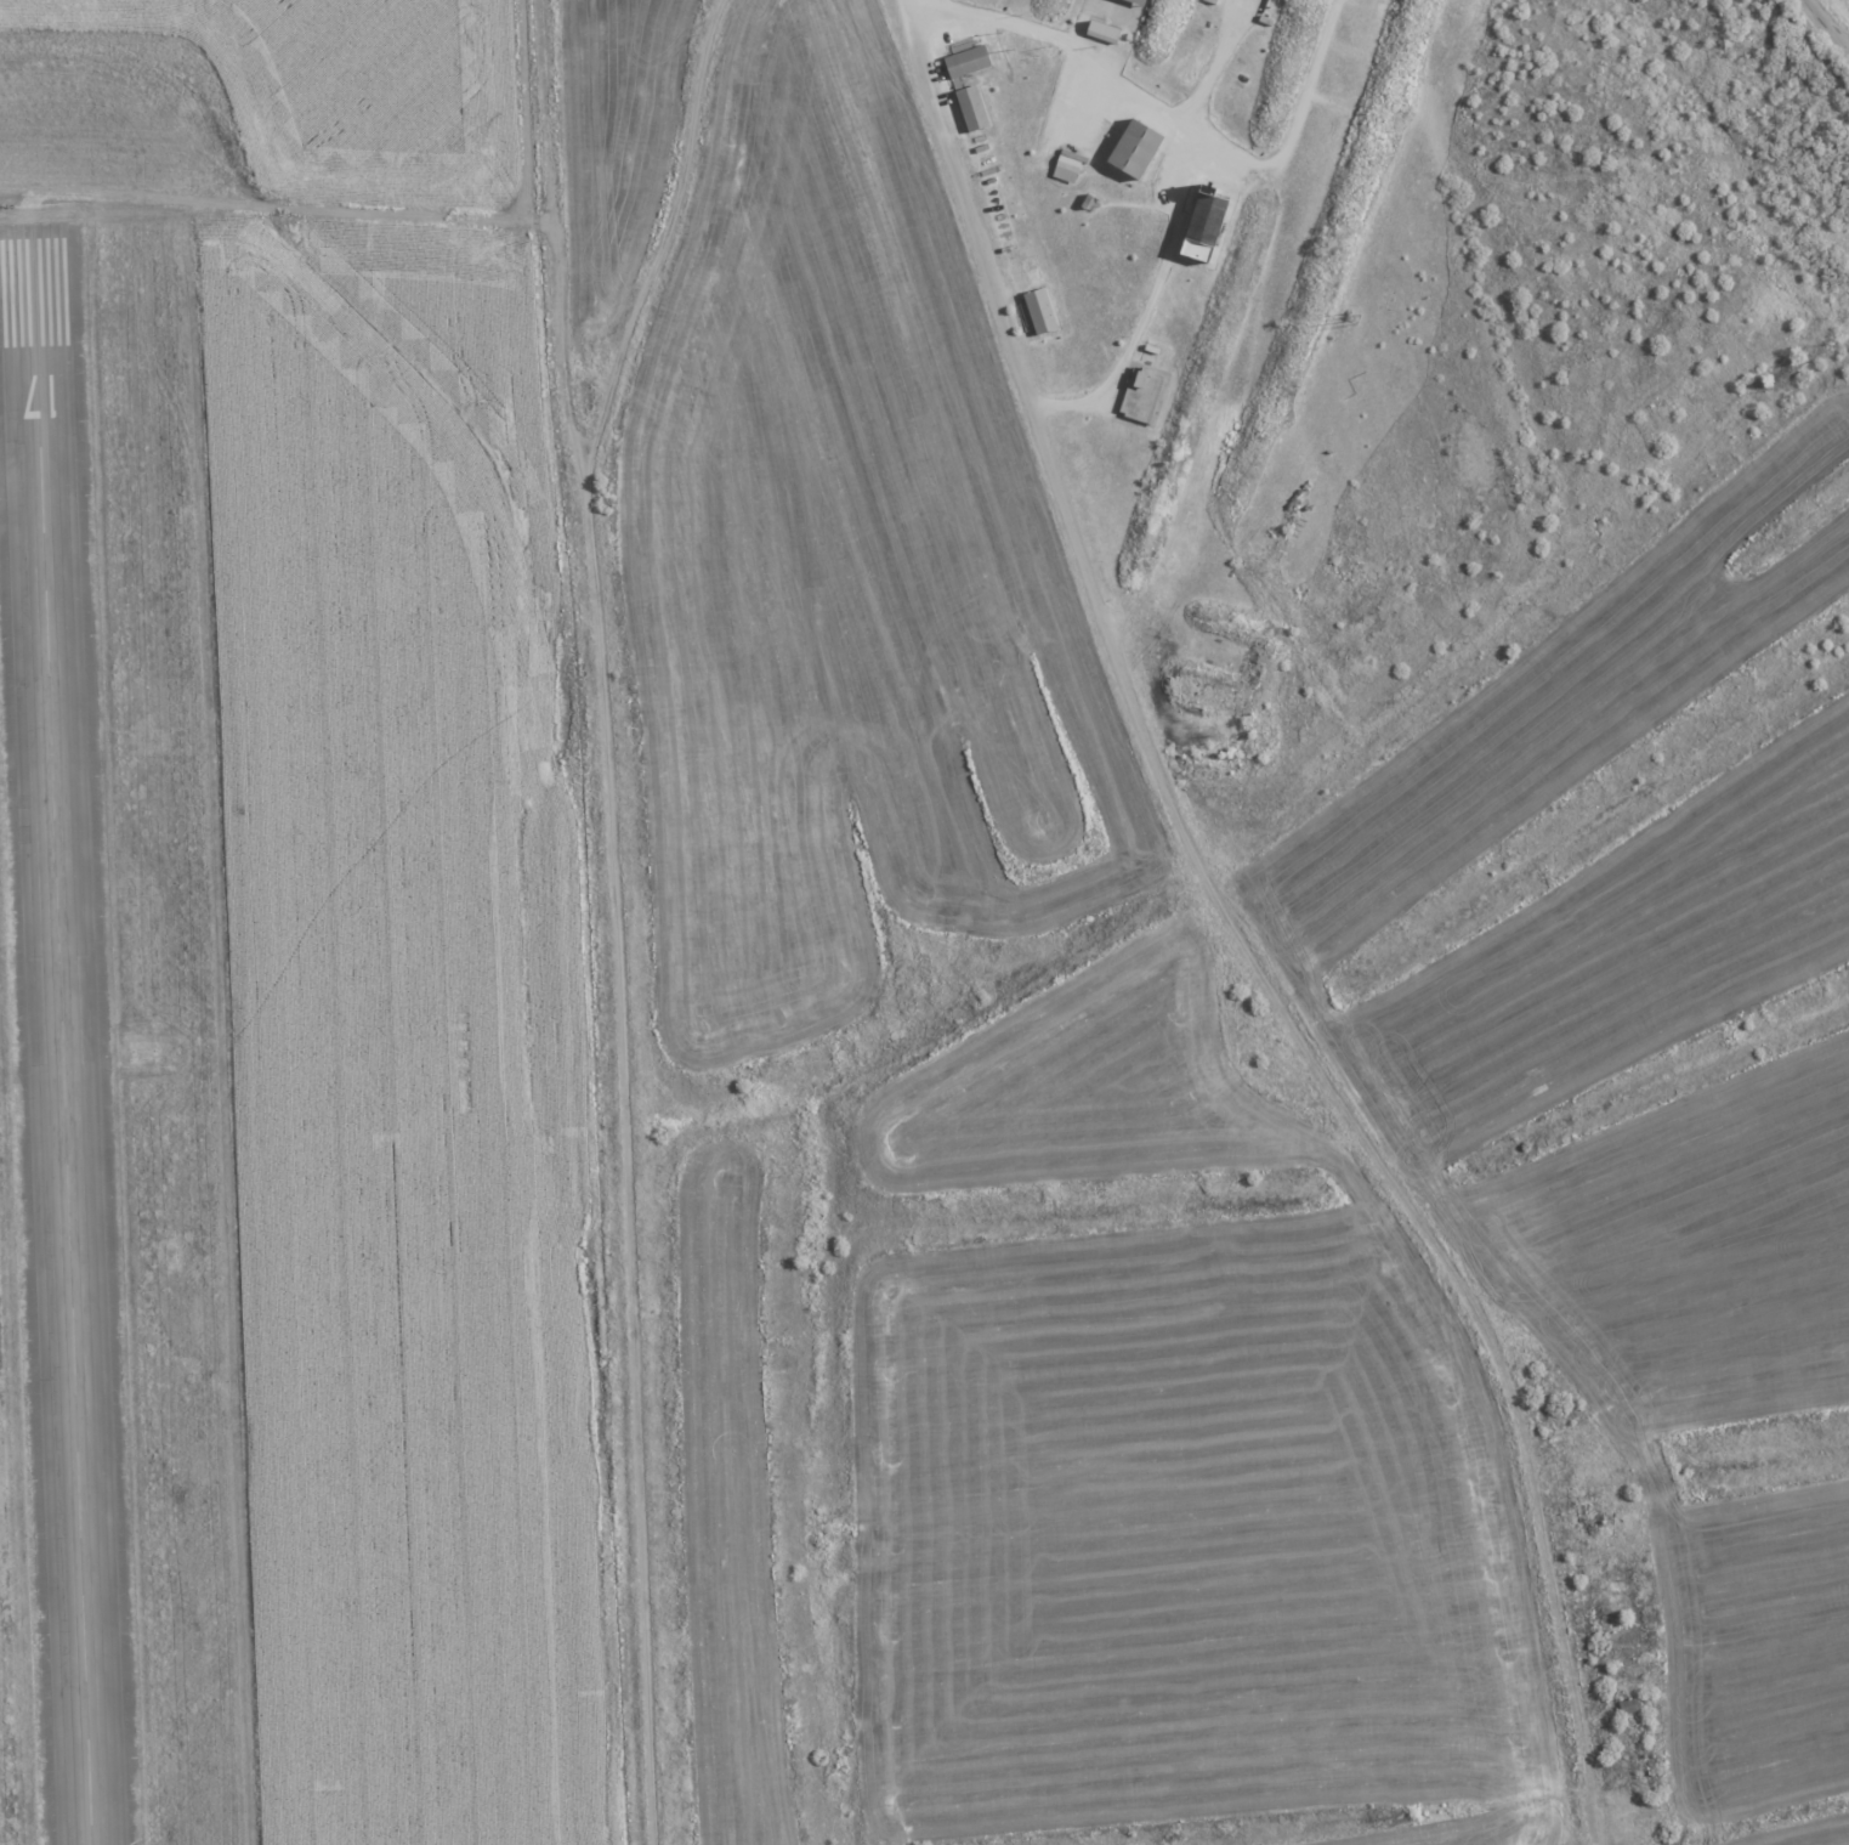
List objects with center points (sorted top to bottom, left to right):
building: (1142, 1)
road: (913, 6)
road: (1826, 24)
building: (1106, 30)
building: (970, 61)
building: (974, 107)
building: (1140, 147)
road: (1186, 163)
building: (1071, 165)
road: (551, 234)
road: (660, 245)
building: (1043, 310)
airport taxiway: (27, 316)
road: (1240, 934)
airport: (290, 947)
airport runway: (62, 1041)
road: (625, 1165)

